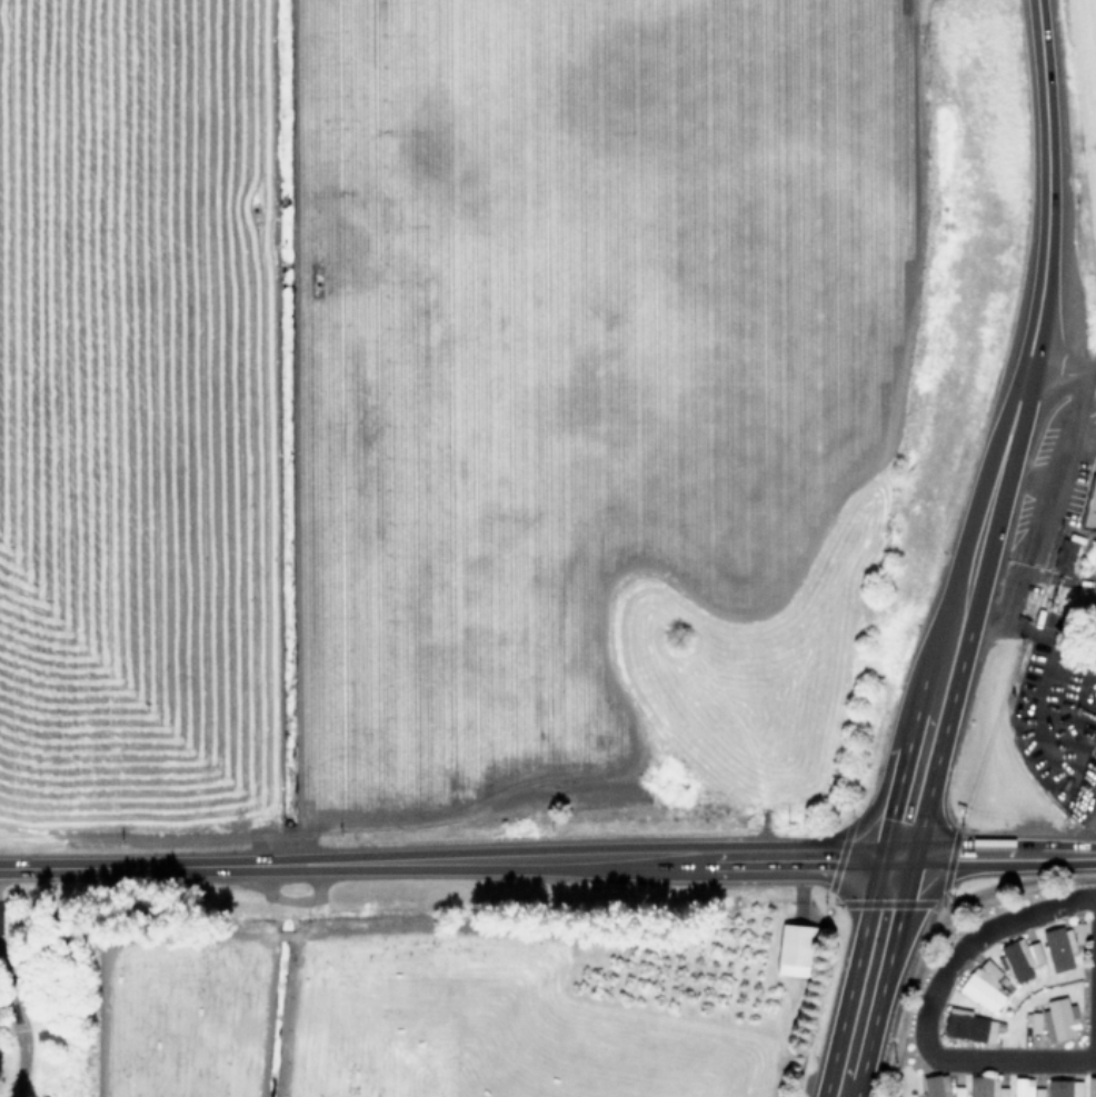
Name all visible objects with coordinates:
road: (1046, 183)
crop: (446, 355)
road: (1060, 372)
building: (1090, 508)
building: (1065, 555)
road: (1033, 572)
road: (957, 610)
road: (1026, 630)
road: (873, 809)
road: (1082, 815)
road: (995, 855)
traffic signals: (896, 857)
road: (749, 860)
road: (301, 865)
road: (916, 906)
road: (883, 911)
road: (974, 937)
building: (1059, 947)
building: (795, 949)
building: (1020, 958)
building: (984, 985)
building: (1059, 1019)
building: (1034, 1021)
building: (969, 1025)
road: (17, 1028)
road: (855, 1031)
road: (1095, 1047)
road: (1008, 1059)
building: (1092, 1086)
building: (986, 1087)
building: (1026, 1088)
building: (1064, 1088)

